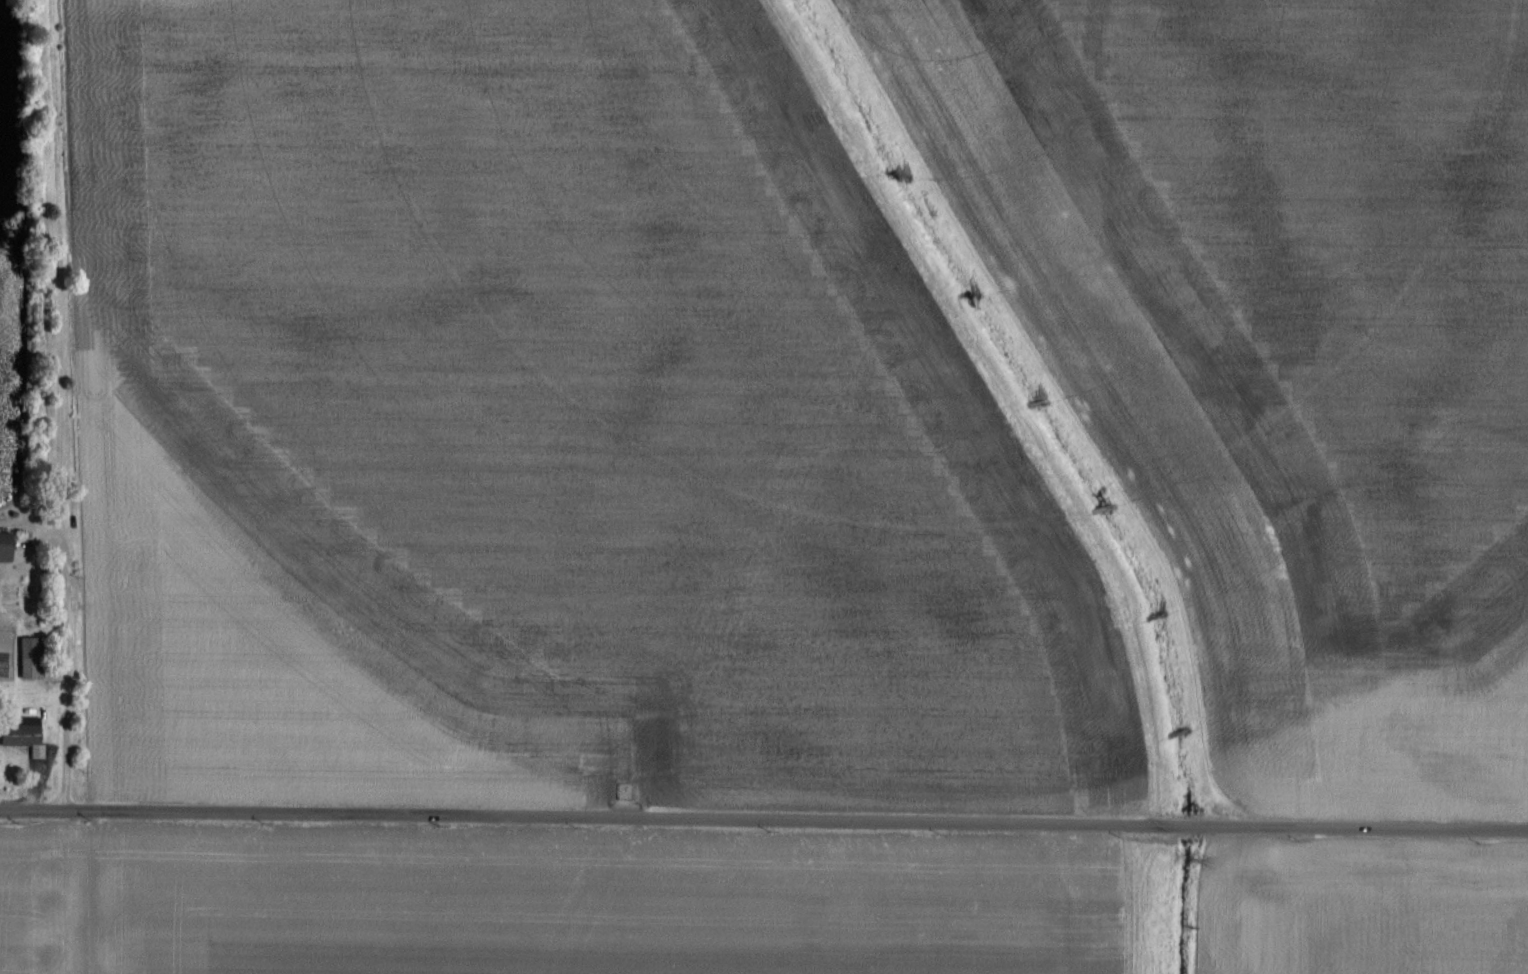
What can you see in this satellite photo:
building: (4, 547)
building: (30, 658)
road: (71, 672)
building: (21, 733)
road: (764, 820)

